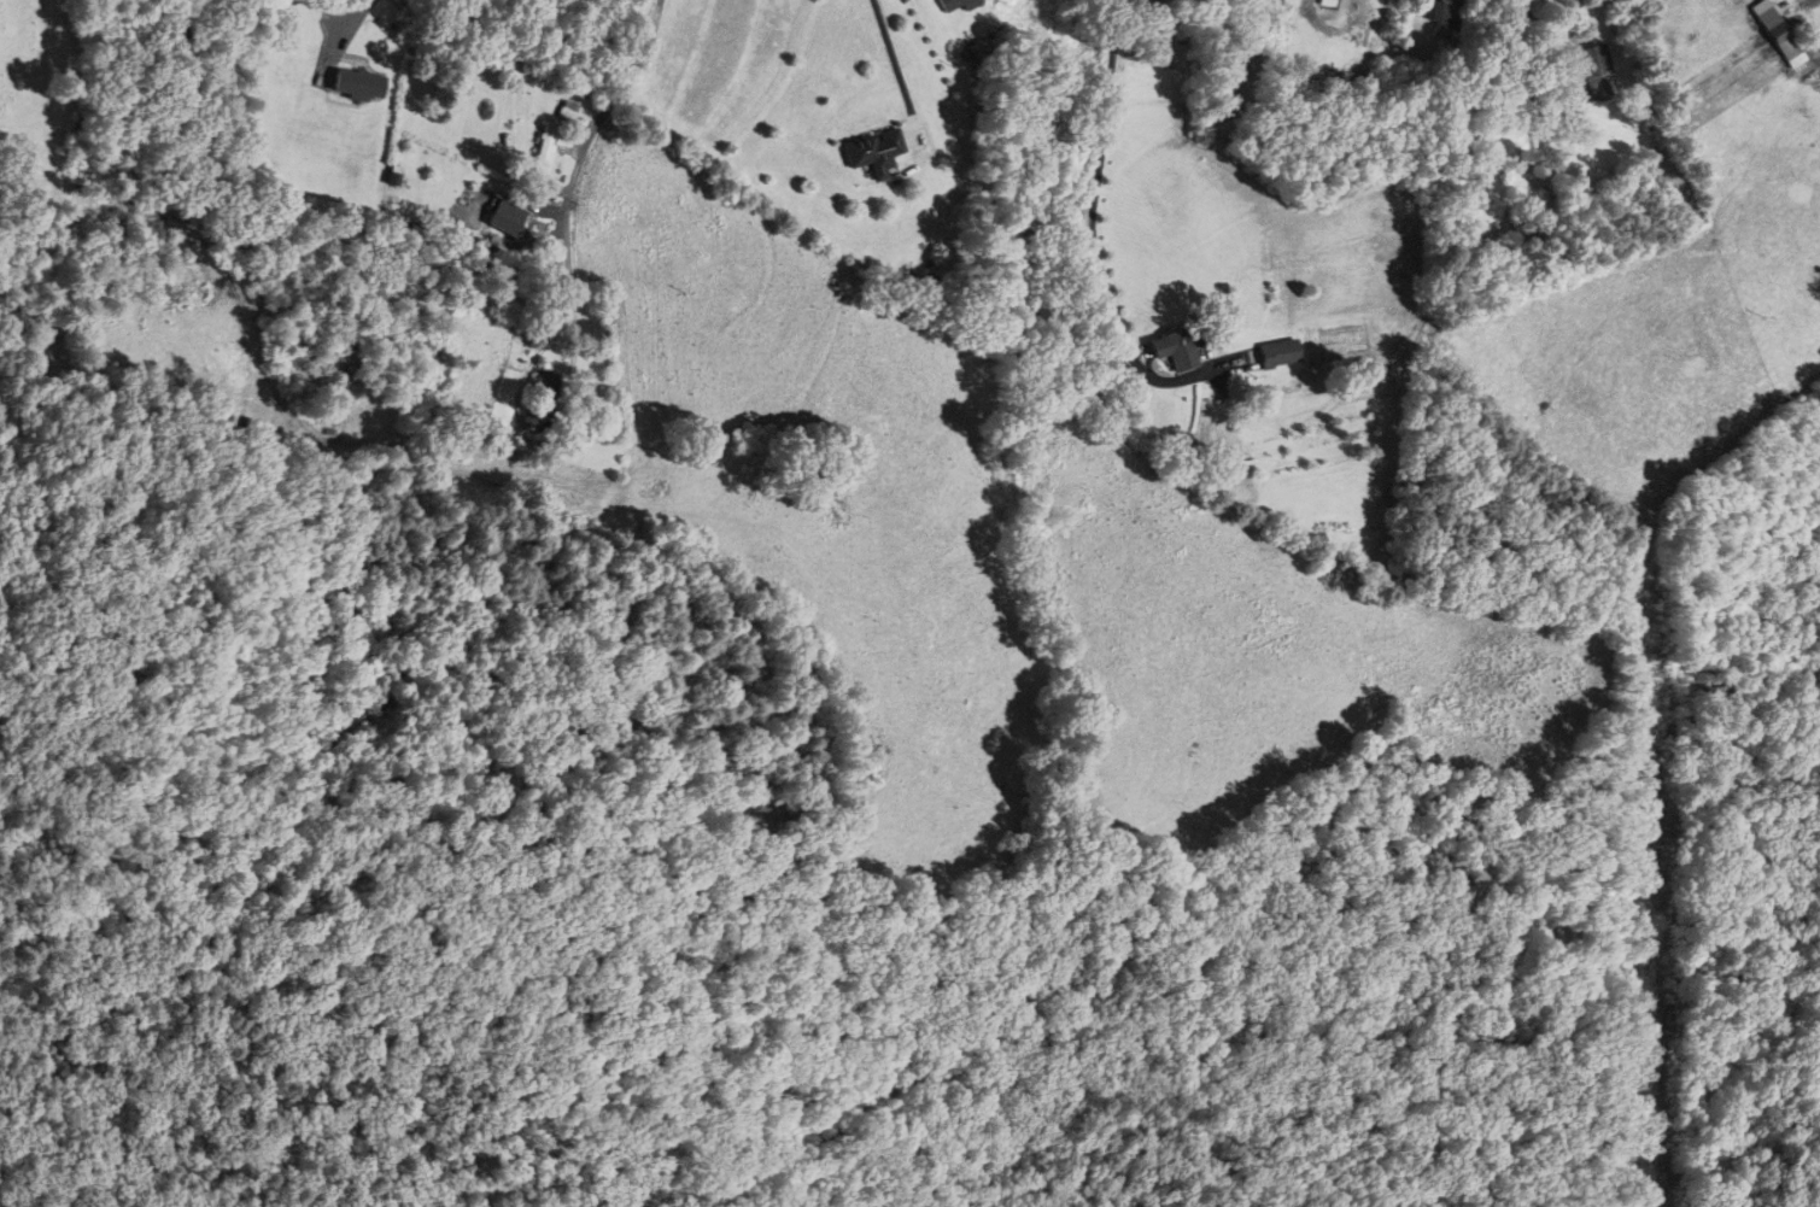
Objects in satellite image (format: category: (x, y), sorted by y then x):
building: (954, 4)
building: (1447, 13)
building: (1778, 34)
road: (897, 66)
building: (1596, 72)
building: (1354, 76)
building: (355, 84)
building: (566, 110)
building: (543, 146)
building: (872, 152)
road: (1099, 177)
road: (572, 200)
building: (503, 217)
building: (1178, 346)
building: (1278, 353)
building: (543, 392)
building: (1216, 471)

